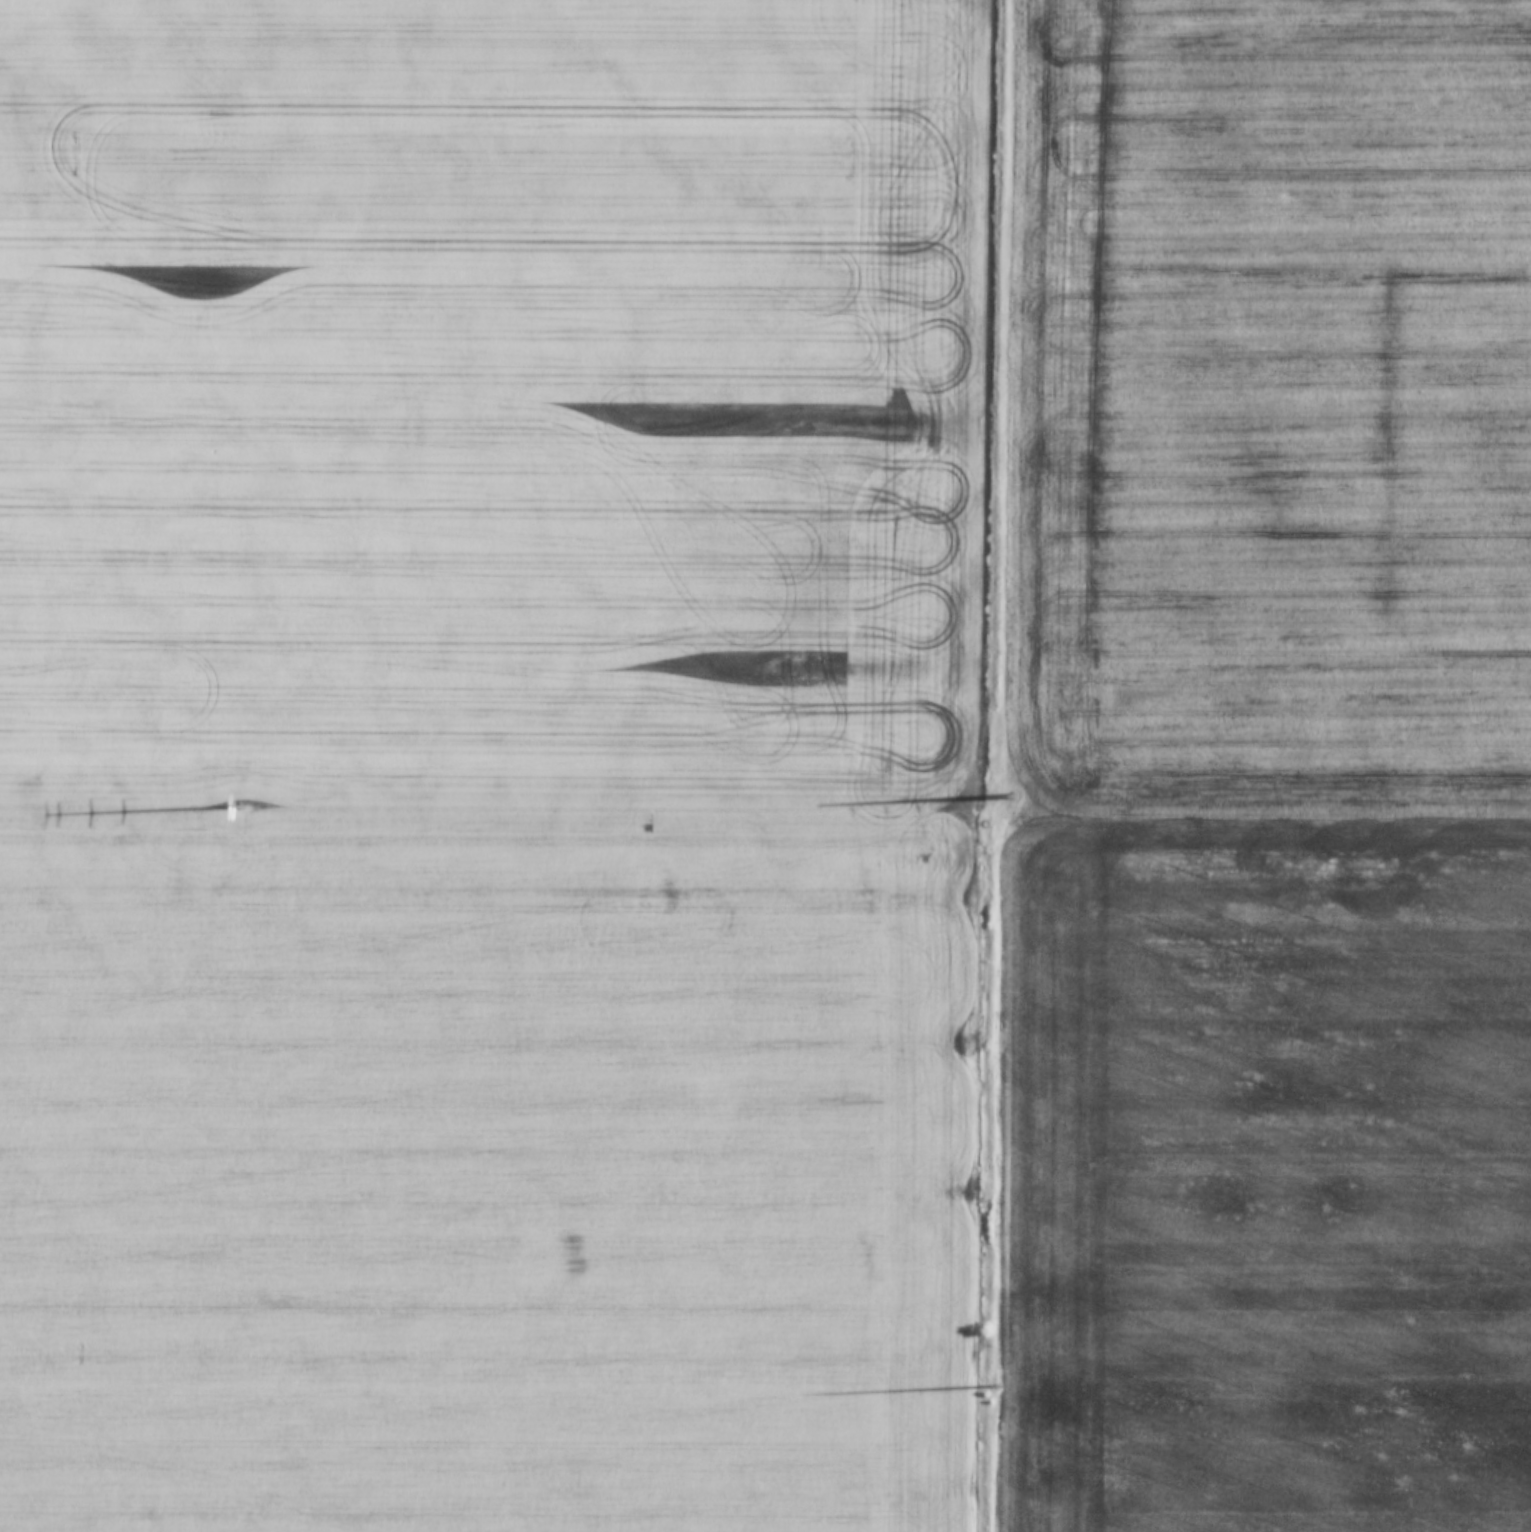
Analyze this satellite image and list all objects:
power tower: (1015, 797)
power tower: (241, 810)
power tower: (998, 1388)

